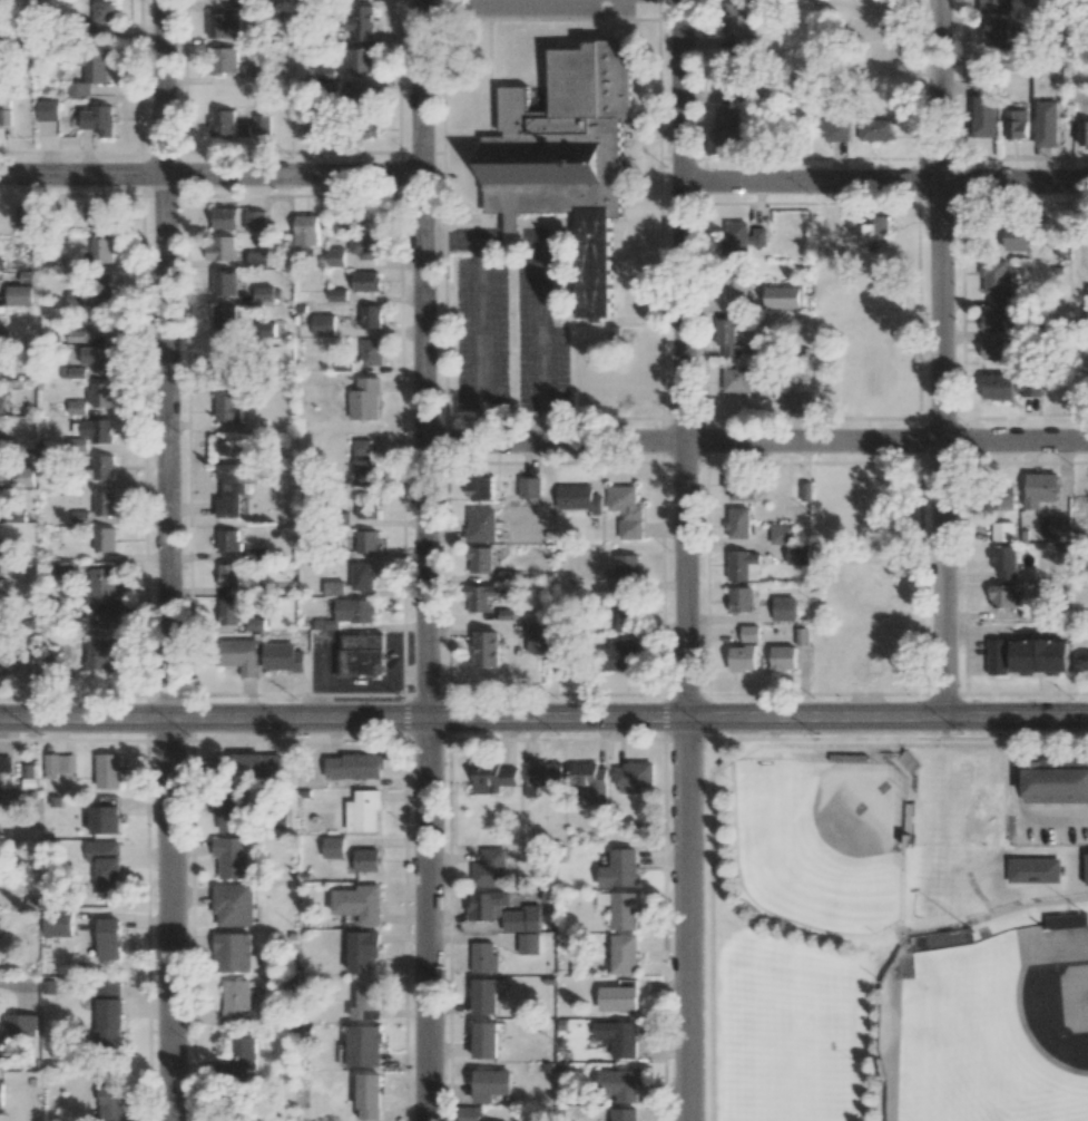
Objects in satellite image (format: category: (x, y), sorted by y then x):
parking lot: (549, 7)
building: (997, 7)
building: (101, 12)
building: (880, 14)
building: (737, 19)
building: (359, 25)
building: (224, 27)
building: (996, 35)
building: (879, 53)
building: (1, 59)
building: (223, 61)
building: (359, 61)
building: (90, 74)
building: (262, 74)
building: (357, 99)
building: (47, 111)
building: (982, 116)
building: (98, 121)
building: (1046, 123)
building: (1016, 124)
building: (227, 126)
building: (262, 126)
building: (314, 129)
building: (363, 129)
building: (834, 129)
building: (875, 129)
building: (725, 131)
building: (1084, 134)
building: (567, 156)
road: (210, 176)
road: (885, 183)
building: (24, 217)
building: (100, 218)
building: (223, 220)
building: (362, 220)
building: (254, 222)
building: (878, 227)
building: (306, 232)
building: (742, 238)
building: (1016, 238)
building: (365, 247)
building: (219, 248)
building: (101, 252)
building: (256, 260)
building: (336, 260)
building: (72, 263)
building: (365, 282)
building: (994, 282)
building: (223, 283)
road: (547, 283)
building: (737, 283)
building: (100, 287)
building: (262, 294)
building: (19, 296)
building: (337, 296)
building: (1087, 296)
building: (783, 298)
building: (75, 299)
building: (370, 318)
building: (223, 319)
building: (993, 321)
building: (101, 323)
building: (322, 325)
building: (263, 330)
parking lot: (480, 334)
building: (727, 337)
parking lot: (538, 338)
road: (480, 343)
building: (992, 350)
building: (371, 352)
building: (225, 359)
road: (683, 359)
building: (98, 360)
road: (425, 360)
road: (940, 361)
building: (269, 367)
building: (1, 372)
building: (76, 372)
building: (736, 380)
building: (1007, 387)
building: (101, 396)
building: (364, 400)
building: (798, 401)
building: (0, 402)
building: (227, 403)
building: (77, 407)
building: (96, 432)
building: (3, 441)
road: (757, 441)
building: (363, 464)
building: (102, 468)
building: (22, 477)
building: (480, 486)
building: (529, 487)
building: (736, 488)
building: (1040, 489)
building: (229, 490)
building: (805, 491)
building: (578, 498)
building: (1000, 499)
building: (105, 504)
building: (366, 506)
building: (626, 510)
building: (12, 516)
building: (79, 516)
building: (738, 523)
building: (480, 524)
building: (1001, 532)
building: (782, 534)
building: (104, 539)
building: (228, 539)
building: (365, 542)
building: (7, 548)
building: (797, 555)
building: (479, 558)
road: (167, 559)
building: (1003, 562)
building: (743, 566)
building: (0, 567)
building: (63, 572)
building: (626, 572)
building: (227, 575)
building: (363, 575)
building: (333, 587)
building: (1004, 596)
building: (481, 597)
building: (104, 600)
building: (741, 600)
building: (784, 608)
building: (354, 610)
building: (228, 611)
building: (625, 614)
building: (749, 633)
building: (802, 636)
building: (539, 637)
building: (487, 647)
building: (619, 653)
building: (99, 654)
building: (361, 654)
building: (238, 655)
building: (1038, 655)
building: (282, 656)
building: (865, 656)
building: (997, 656)
building: (742, 657)
building: (783, 657)
building: (1081, 661)
building: (52, 665)
road: (543, 720)
road: (895, 738)
road: (298, 739)
road: (428, 739)
road: (556, 739)
road: (685, 739)
road: (77, 740)
road: (170, 740)
building: (4, 763)
building: (59, 766)
building: (246, 766)
building: (353, 766)
building: (107, 771)
building: (543, 777)
building: (634, 777)
building: (492, 778)
building: (1056, 779)
building: (590, 781)
building: (231, 810)
building: (363, 811)
building: (102, 820)
park: (822, 841)
building: (332, 849)
building: (231, 857)
building: (366, 859)
building: (104, 866)
building: (490, 868)
building: (621, 869)
building: (1035, 870)
building: (1087, 870)
building: (356, 904)
building: (233, 906)
building: (621, 909)
building: (498, 912)
road: (429, 920)
road: (684, 920)
building: (1066, 920)
building: (56, 923)
building: (108, 939)
building: (529, 945)
park: (881, 948)
building: (363, 952)
building: (232, 953)
building: (625, 954)
building: (484, 958)
building: (486, 997)
building: (618, 998)
building: (236, 1000)
building: (366, 1002)
building: (108, 1026)
park: (990, 1032)
building: (14, 1033)
building: (619, 1037)
building: (486, 1041)
building: (362, 1047)
building: (238, 1063)
building: (492, 1084)
building: (1, 1093)
building: (369, 1098)
building: (110, 1104)
building: (469, 1114)
building: (626, 1114)

